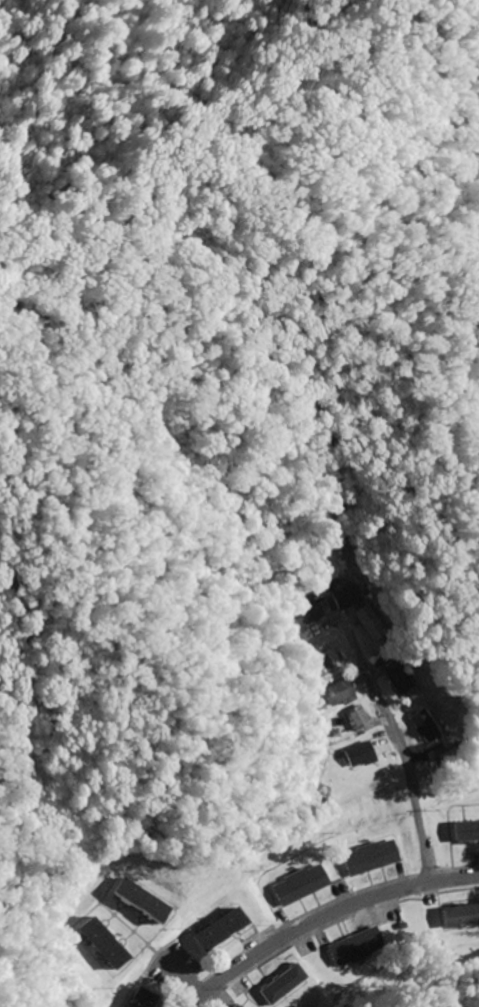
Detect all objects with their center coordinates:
building: (342, 699)
building: (356, 722)
building: (429, 727)
building: (360, 755)
road: (375, 805)
building: (468, 832)
building: (371, 858)
building: (300, 885)
road: (320, 916)
building: (461, 917)
building: (219, 930)
building: (355, 947)
building: (112, 959)
building: (281, 984)
building: (235, 1006)

